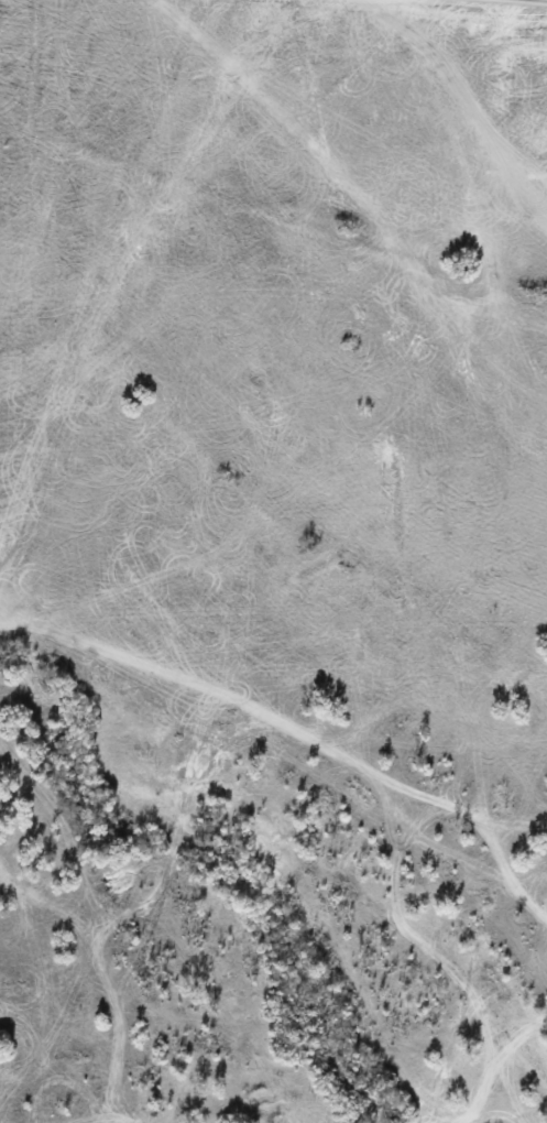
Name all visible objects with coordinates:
road: (530, 1)

